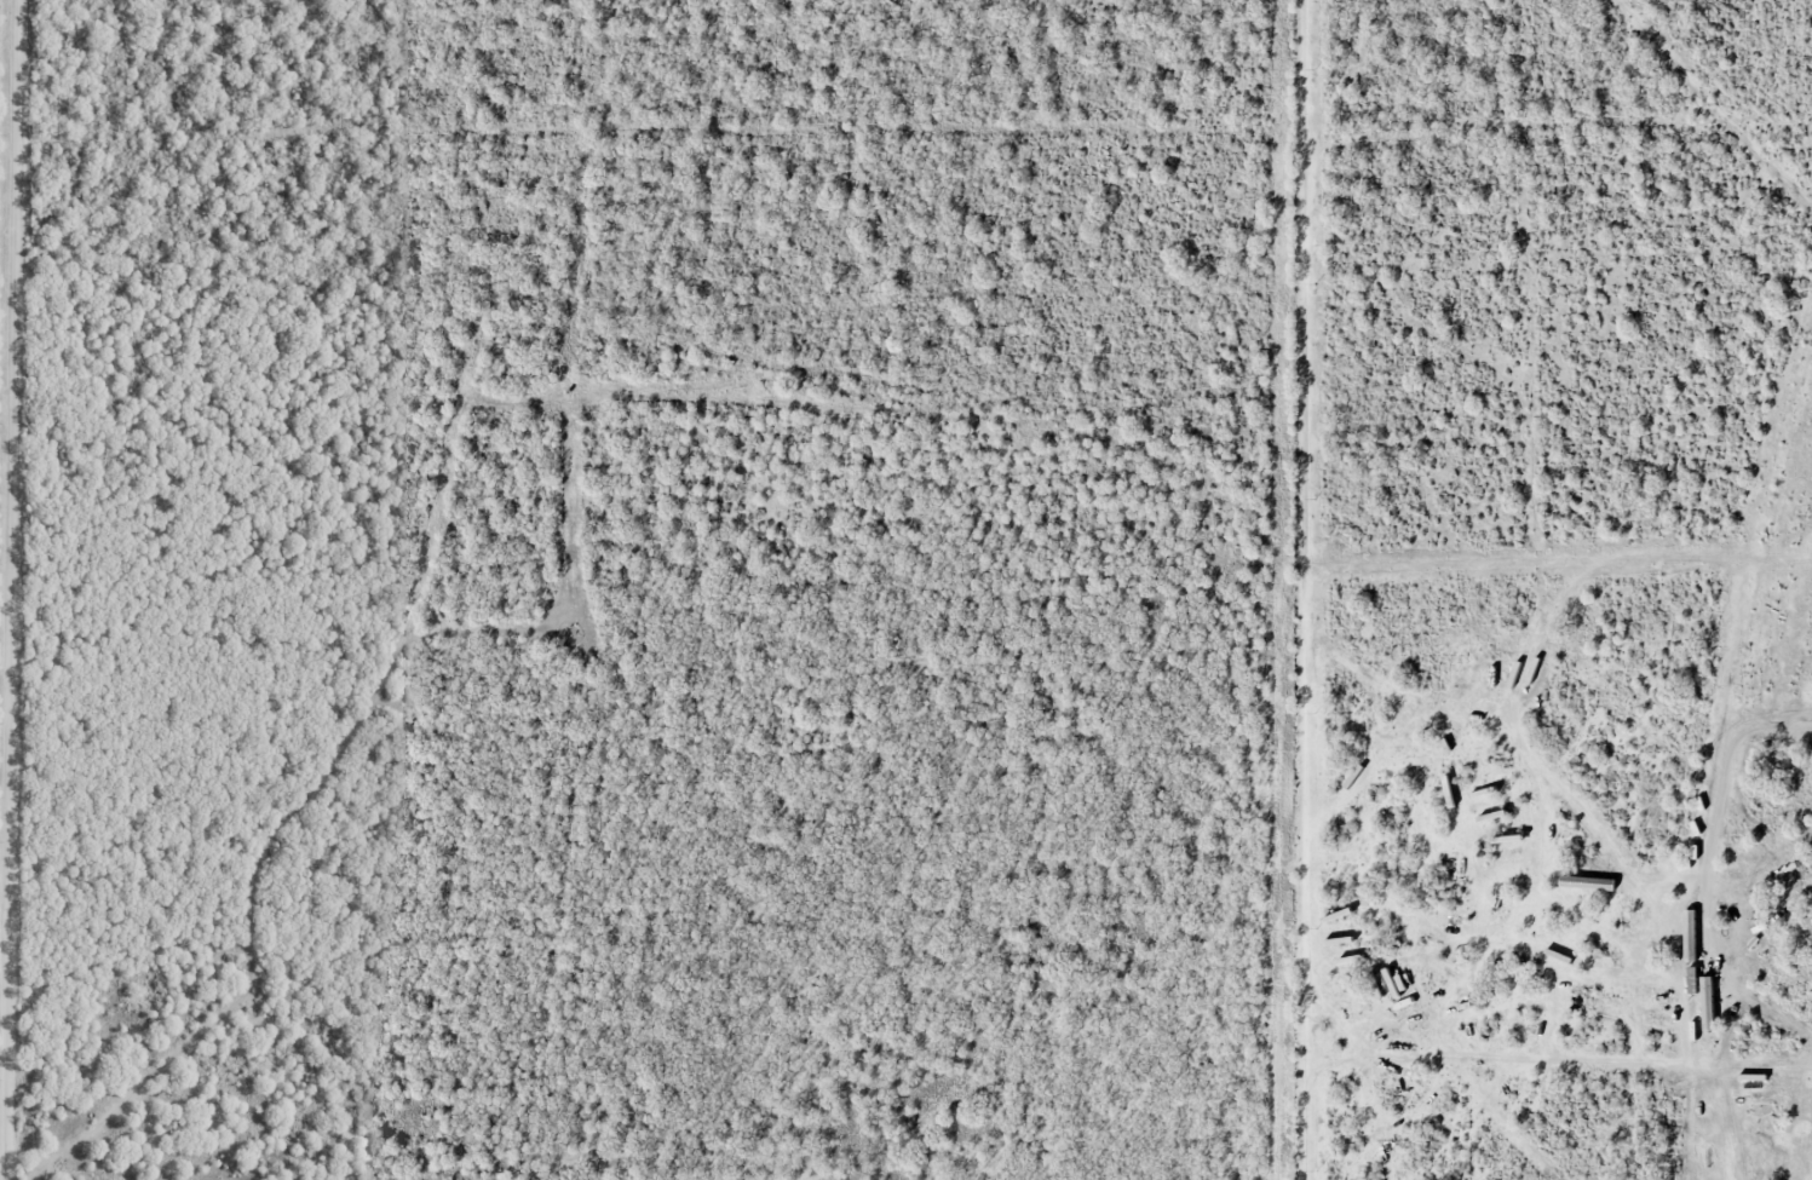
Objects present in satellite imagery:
road: (10, 589)
road: (1273, 589)

